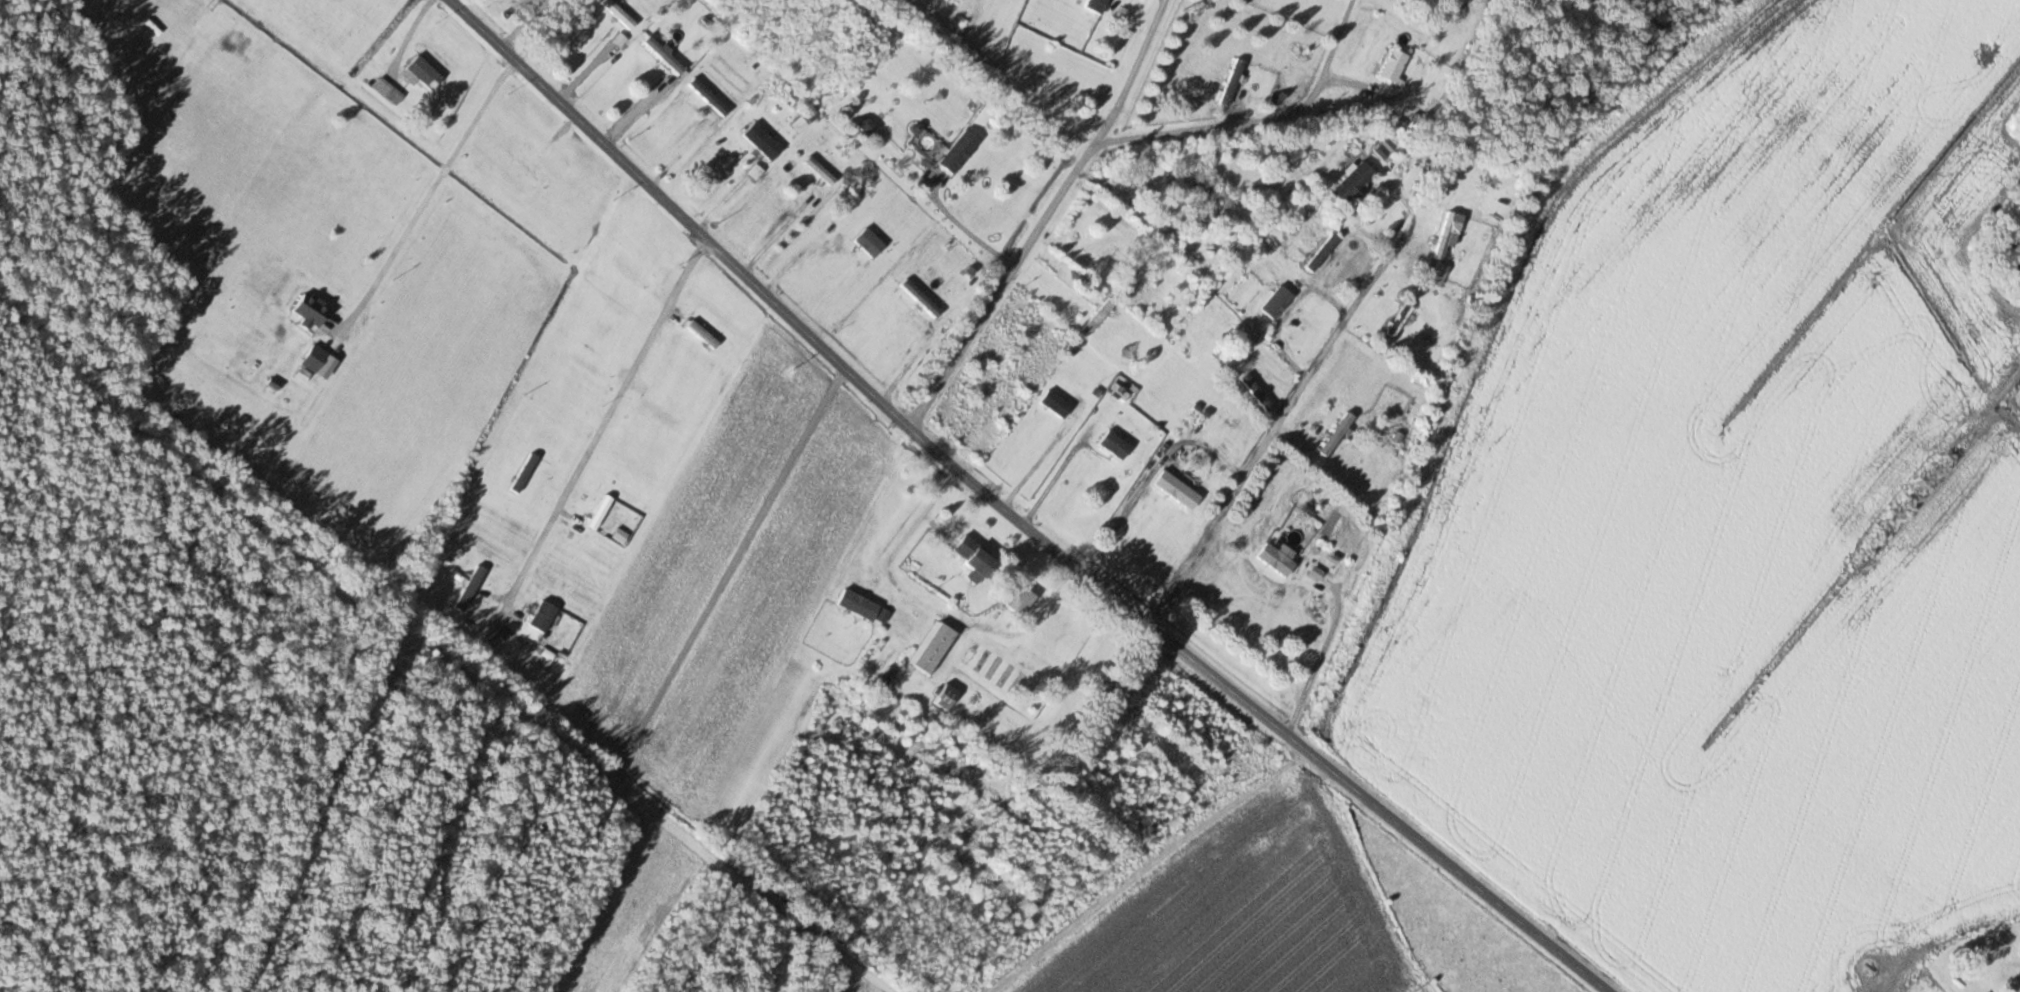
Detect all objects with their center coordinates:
building: (1096, 5)
building: (619, 13)
road: (525, 23)
road: (410, 35)
building: (664, 54)
building: (1393, 64)
building: (420, 73)
building: (1232, 81)
building: (388, 90)
building: (771, 90)
building: (708, 96)
road: (638, 106)
road: (1259, 121)
building: (762, 141)
building: (958, 151)
building: (535, 170)
building: (820, 170)
building: (755, 171)
building: (1352, 181)
road: (429, 196)
building: (1168, 208)
road: (1047, 216)
road: (968, 228)
building: (1445, 234)
building: (868, 241)
building: (1321, 252)
building: (1135, 264)
building: (921, 297)
building: (1278, 305)
building: (309, 310)
building: (1098, 315)
building: (1399, 319)
building: (702, 334)
building: (1238, 354)
building: (313, 358)
building: (1055, 403)
building: (659, 414)
road: (1281, 422)
road: (606, 423)
building: (1336, 434)
building: (1114, 444)
road: (1154, 469)
building: (524, 472)
building: (1176, 489)
building: (604, 510)
road: (1021, 511)
road: (903, 541)
building: (973, 556)
building: (470, 587)
building: (1021, 600)
building: (906, 621)
building: (993, 647)
building: (935, 648)
road: (1323, 654)
building: (862, 694)
building: (945, 696)
building: (821, 713)
building: (874, 724)
building: (931, 748)

